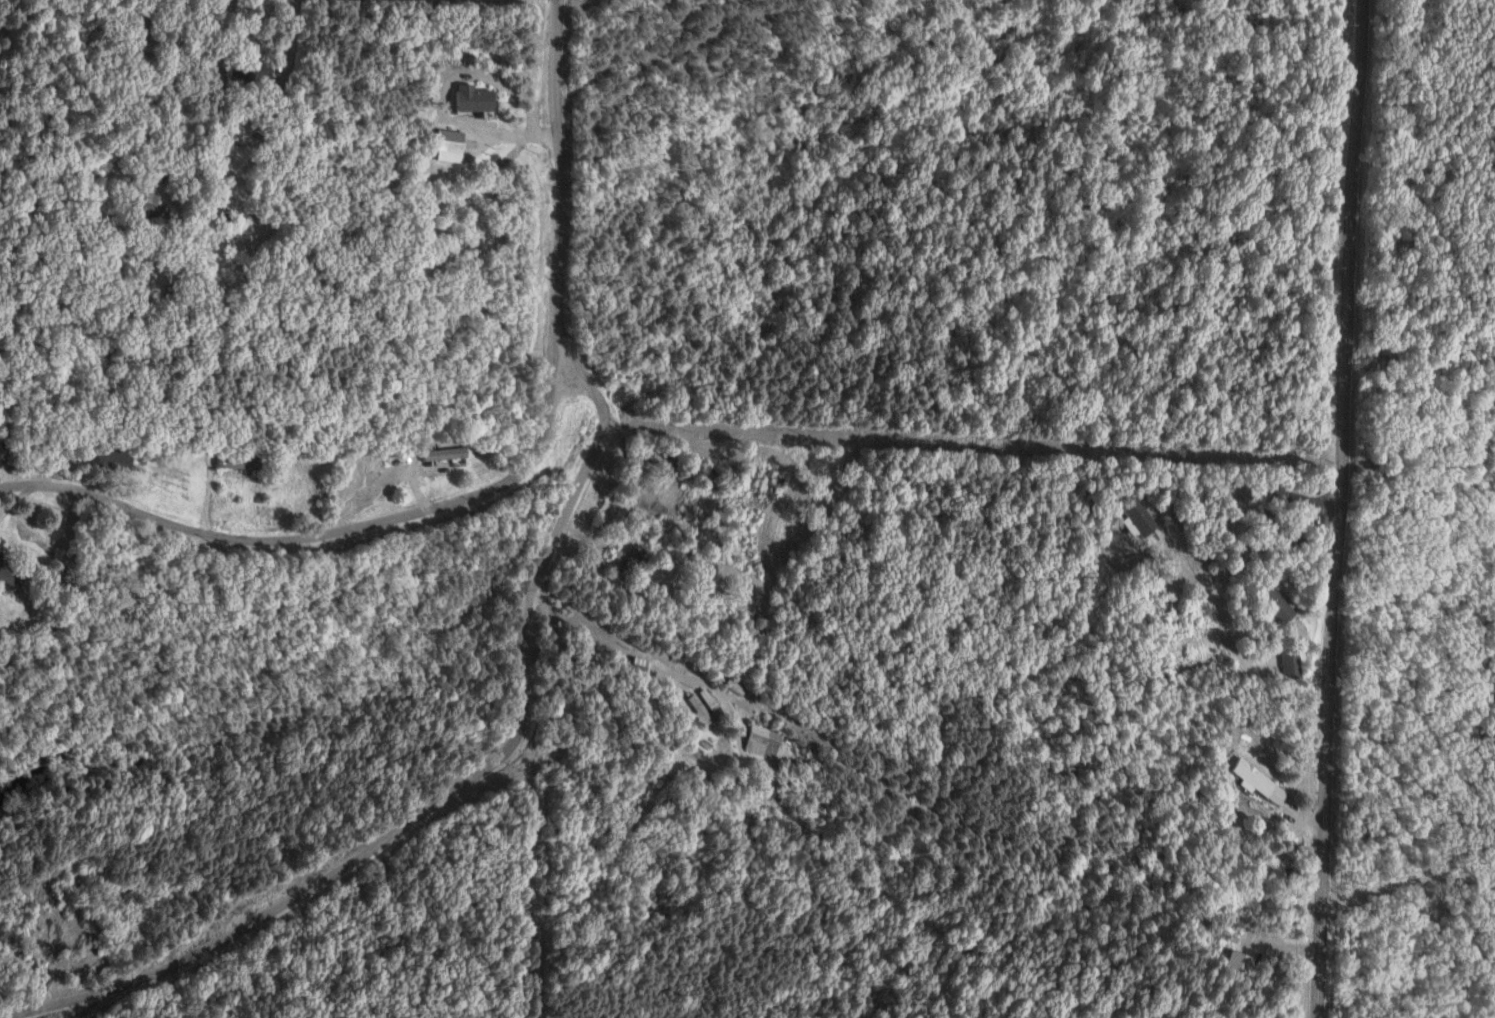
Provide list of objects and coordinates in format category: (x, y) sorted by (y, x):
building: (243, 70)
road: (162, 89)
building: (467, 98)
building: (444, 146)
road: (556, 186)
building: (1, 453)
building: (440, 455)
road: (625, 502)
road: (1333, 508)
building: (1129, 517)
building: (1119, 527)
road: (312, 545)
building: (11, 574)
building: (1269, 602)
road: (1224, 650)
building: (1287, 664)
road: (613, 713)
building: (755, 740)
building: (1251, 782)
road: (445, 789)
building: (1231, 964)

